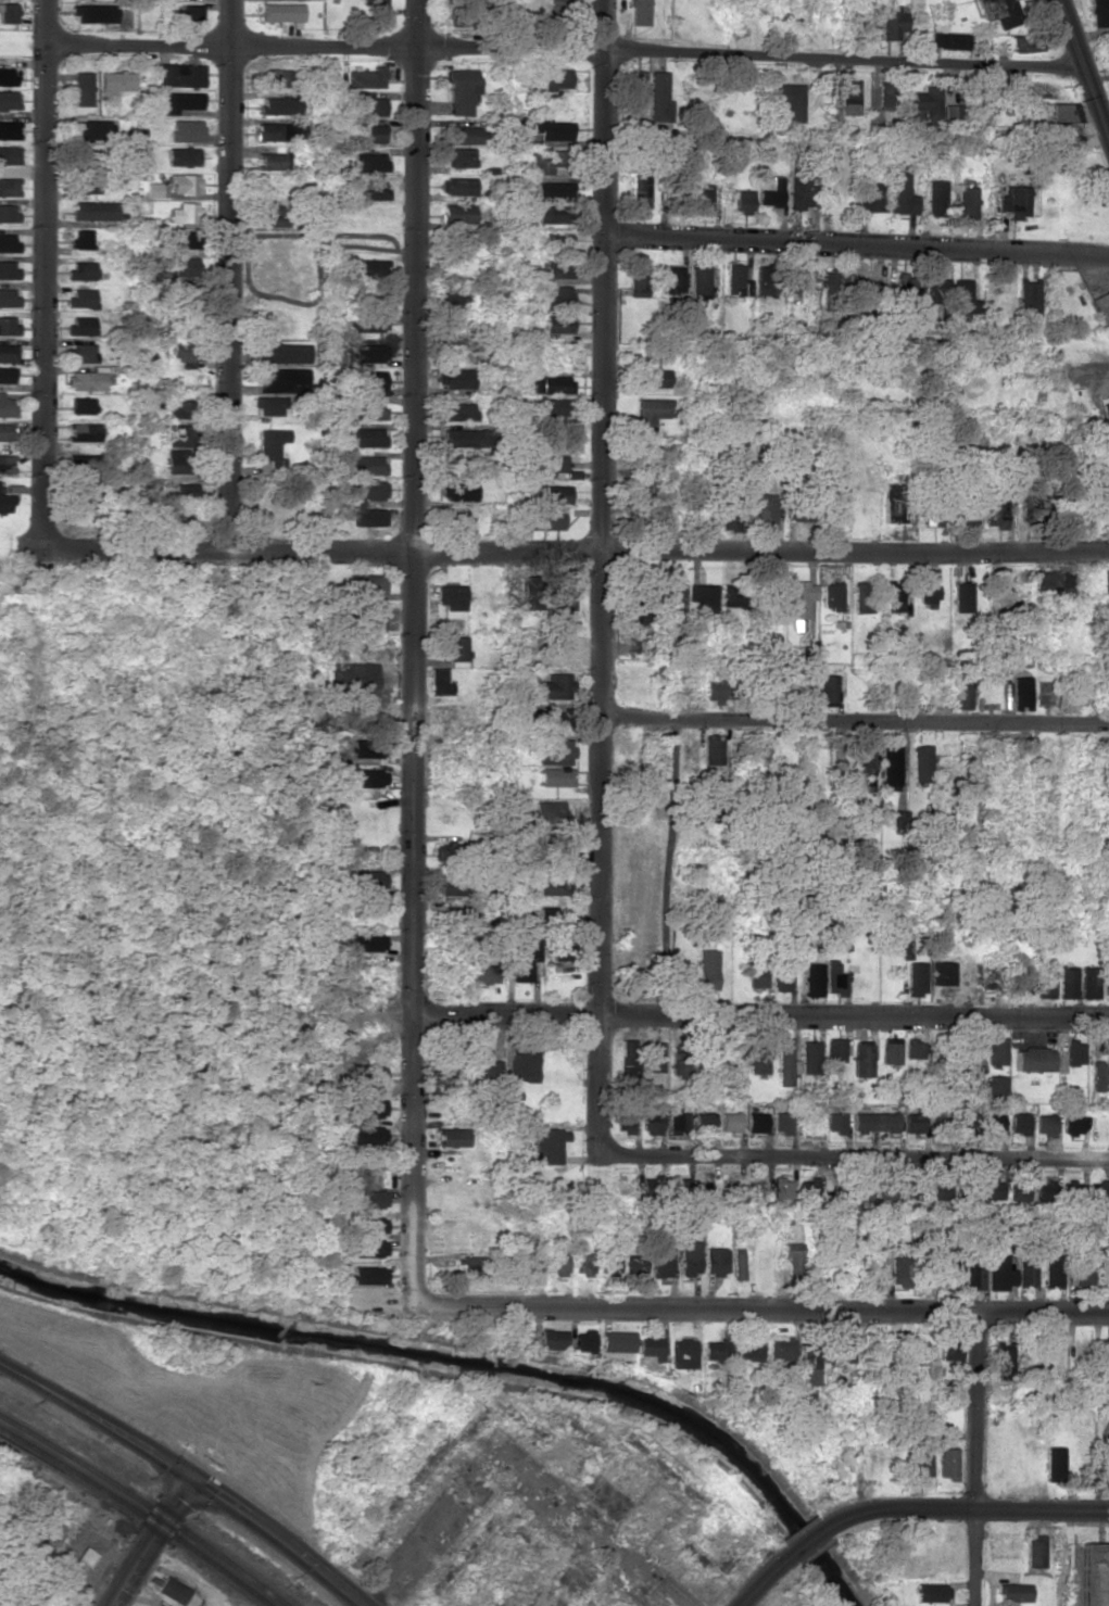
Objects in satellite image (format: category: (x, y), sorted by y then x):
building: (375, 2)
building: (8, 12)
building: (282, 12)
building: (639, 12)
building: (996, 12)
building: (94, 13)
building: (1099, 13)
building: (191, 14)
building: (468, 15)
building: (864, 20)
building: (892, 22)
building: (948, 40)
building: (1026, 43)
road: (562, 47)
building: (180, 74)
building: (7, 76)
building: (275, 77)
building: (367, 77)
road: (1082, 77)
building: (556, 79)
building: (116, 80)
building: (634, 85)
building: (83, 88)
building: (461, 90)
building: (885, 92)
building: (657, 93)
building: (849, 97)
building: (8, 100)
building: (786, 100)
building: (180, 101)
building: (927, 104)
building: (279, 105)
building: (366, 106)
building: (1063, 111)
building: (952, 112)
building: (8, 129)
building: (90, 129)
building: (552, 129)
building: (1075, 129)
building: (186, 130)
building: (273, 131)
building: (366, 132)
building: (463, 135)
building: (7, 154)
building: (185, 155)
building: (458, 156)
building: (86, 160)
building: (272, 161)
building: (370, 161)
building: (543, 161)
building: (85, 182)
building: (184, 184)
building: (457, 186)
building: (7, 187)
building: (802, 187)
building: (153, 189)
building: (369, 189)
building: (640, 189)
building: (553, 190)
building: (769, 190)
building: (900, 194)
building: (702, 197)
building: (870, 197)
building: (935, 198)
building: (1015, 200)
building: (743, 201)
building: (966, 201)
building: (93, 210)
building: (184, 212)
building: (7, 213)
building: (457, 213)
building: (552, 213)
building: (275, 215)
building: (79, 238)
building: (179, 239)
building: (557, 241)
building: (7, 242)
building: (462, 242)
road: (858, 242)
building: (369, 268)
building: (8, 269)
building: (557, 269)
building: (80, 270)
road: (45, 273)
road: (231, 274)
building: (638, 277)
building: (669, 279)
building: (736, 279)
building: (766, 279)
building: (834, 280)
building: (701, 282)
building: (905, 283)
building: (867, 284)
building: (933, 290)
building: (176, 294)
building: (7, 296)
building: (962, 296)
building: (80, 298)
building: (558, 298)
building: (1028, 298)
building: (451, 300)
building: (1102, 305)
building: (369, 321)
building: (558, 324)
building: (8, 325)
building: (79, 326)
building: (179, 351)
building: (7, 352)
building: (80, 352)
building: (282, 352)
building: (369, 352)
building: (5, 375)
building: (652, 375)
building: (457, 378)
building: (85, 379)
building: (281, 379)
building: (368, 380)
building: (550, 383)
building: (80, 404)
building: (269, 405)
building: (5, 406)
building: (555, 406)
building: (179, 408)
building: (1106, 409)
building: (456, 410)
building: (647, 413)
building: (84, 431)
building: (178, 434)
building: (368, 437)
building: (461, 437)
building: (272, 443)
building: (176, 459)
building: (4, 463)
building: (80, 463)
building: (365, 464)
building: (550, 466)
building: (369, 489)
building: (184, 490)
building: (459, 491)
building: (553, 494)
building: (894, 502)
building: (4, 503)
building: (765, 511)
building: (995, 511)
building: (961, 514)
building: (931, 515)
building: (368, 516)
building: (456, 516)
building: (551, 518)
building: (730, 519)
road: (576, 549)
road: (603, 577)
building: (1053, 581)
building: (366, 583)
building: (1106, 585)
building: (928, 591)
building: (733, 595)
building: (894, 595)
building: (451, 596)
building: (529, 596)
building: (703, 596)
building: (832, 596)
building: (862, 596)
building: (961, 596)
building: (673, 597)
building: (799, 598)
building: (369, 617)
building: (456, 647)
road: (414, 649)
building: (806, 653)
building: (353, 679)
building: (439, 681)
building: (555, 686)
building: (824, 688)
building: (714, 691)
building: (1020, 691)
building: (961, 695)
building: (550, 719)
road: (855, 719)
building: (366, 747)
building: (711, 748)
building: (555, 751)
building: (761, 753)
building: (865, 755)
building: (921, 763)
building: (891, 766)
building: (555, 776)
building: (368, 777)
road: (1089, 797)
building: (703, 807)
building: (547, 810)
building: (898, 821)
building: (556, 852)
building: (368, 880)
building: (551, 882)
building: (545, 912)
building: (458, 916)
building: (366, 941)
building: (560, 951)
building: (524, 959)
building: (706, 963)
building: (782, 971)
building: (941, 972)
building: (481, 974)
road: (959, 974)
building: (915, 977)
building: (811, 978)
building: (833, 978)
building: (1021, 978)
building: (757, 979)
building: (1044, 982)
building: (1066, 982)
building: (1088, 984)
building: (1106, 984)
road: (724, 1012)
building: (912, 1048)
building: (834, 1049)
building: (889, 1050)
building: (994, 1051)
building: (1073, 1052)
building: (626, 1053)
building: (652, 1057)
building: (808, 1057)
building: (1030, 1059)
building: (480, 1060)
building: (756, 1060)
building: (860, 1060)
building: (783, 1061)
building: (678, 1062)
building: (520, 1065)
building: (366, 1074)
building: (1098, 1076)
building: (993, 1087)
building: (366, 1108)
building: (675, 1117)
building: (622, 1121)
building: (965, 1121)
building: (650, 1122)
building: (703, 1122)
building: (729, 1122)
building: (755, 1122)
building: (780, 1122)
building: (833, 1122)
building: (872, 1122)
building: (912, 1122)
building: (1017, 1122)
building: (937, 1123)
building: (991, 1123)
building: (1043, 1124)
building: (1069, 1124)
building: (366, 1134)
building: (452, 1136)
building: (546, 1145)
road: (854, 1158)
building: (1072, 1183)
building: (806, 1185)
building: (780, 1186)
building: (701, 1187)
building: (727, 1187)
building: (991, 1188)
building: (884, 1189)
building: (911, 1189)
building: (938, 1189)
building: (1042, 1189)
building: (1017, 1190)
building: (1095, 1190)
building: (367, 1198)
building: (365, 1225)
building: (366, 1248)
building: (791, 1250)
building: (688, 1256)
building: (658, 1260)
building: (714, 1260)
building: (580, 1263)
building: (606, 1263)
building: (470, 1264)
building: (527, 1264)
building: (554, 1264)
building: (633, 1265)
building: (735, 1265)
building: (870, 1270)
building: (945, 1270)
building: (1024, 1270)
building: (1051, 1270)
building: (897, 1272)
building: (972, 1272)
building: (997, 1272)
building: (1101, 1272)
building: (366, 1275)
building: (1080, 1276)
road: (757, 1304)
building: (550, 1339)
building: (580, 1340)
building: (614, 1341)
building: (869, 1343)
building: (896, 1343)
building: (647, 1346)
building: (842, 1346)
building: (779, 1348)
building: (746, 1349)
building: (713, 1350)
building: (1102, 1352)
building: (681, 1353)
building: (1000, 1358)
building: (807, 1369)
building: (585, 1432)
road: (1100, 1452)
road: (973, 1457)
building: (919, 1460)
road: (517, 1462)
building: (945, 1463)
building: (1051, 1463)
traffic signals: (189, 1472)
road: (190, 1474)
road: (1102, 1485)
road: (1093, 1496)
railway: (146, 1507)
road: (968, 1508)
railway: (137, 1513)
building: (46, 1532)
road: (806, 1537)
road: (149, 1540)
building: (1033, 1552)
building: (1093, 1573)
road: (760, 1580)
building: (171, 1590)
building: (928, 1592)
building: (1011, 1592)

